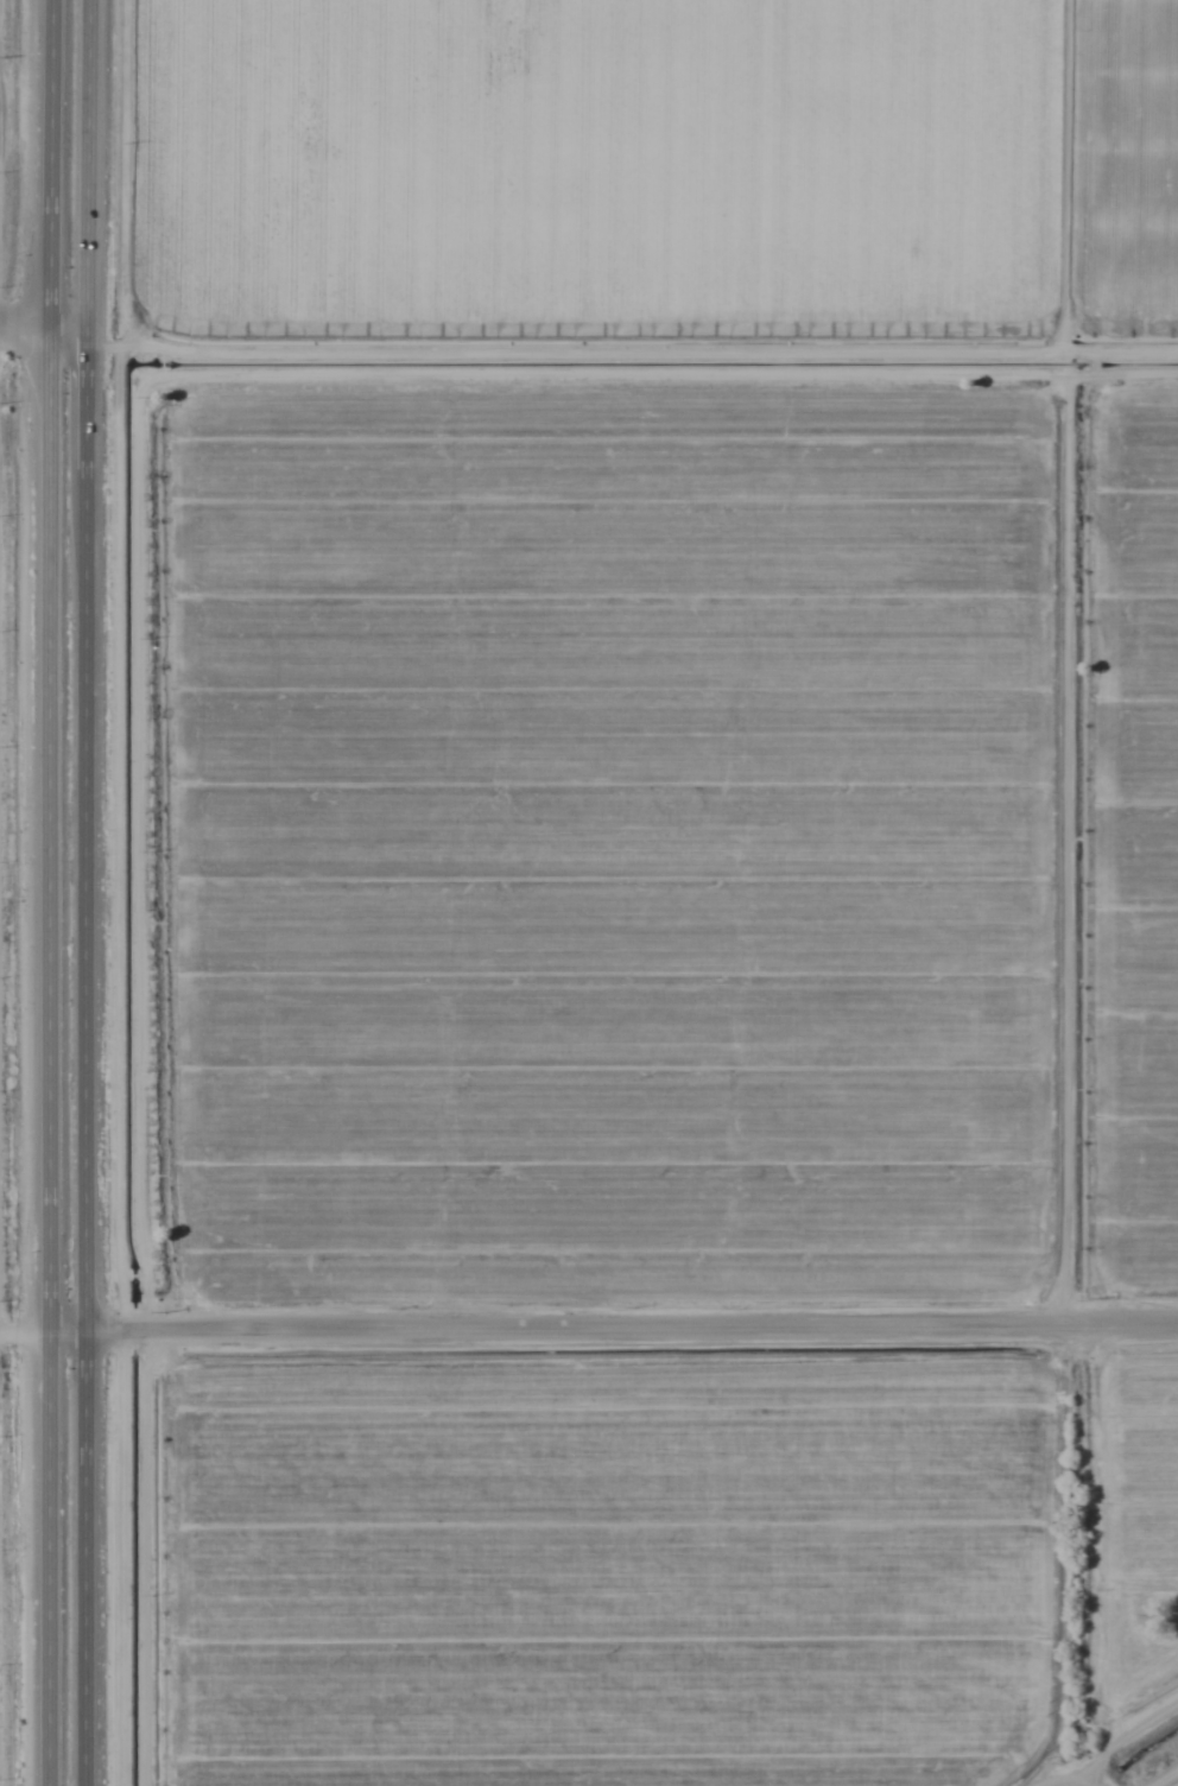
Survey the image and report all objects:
road: (24, 348)
road: (66, 348)
road: (44, 892)
road: (81, 892)
road: (588, 1336)

